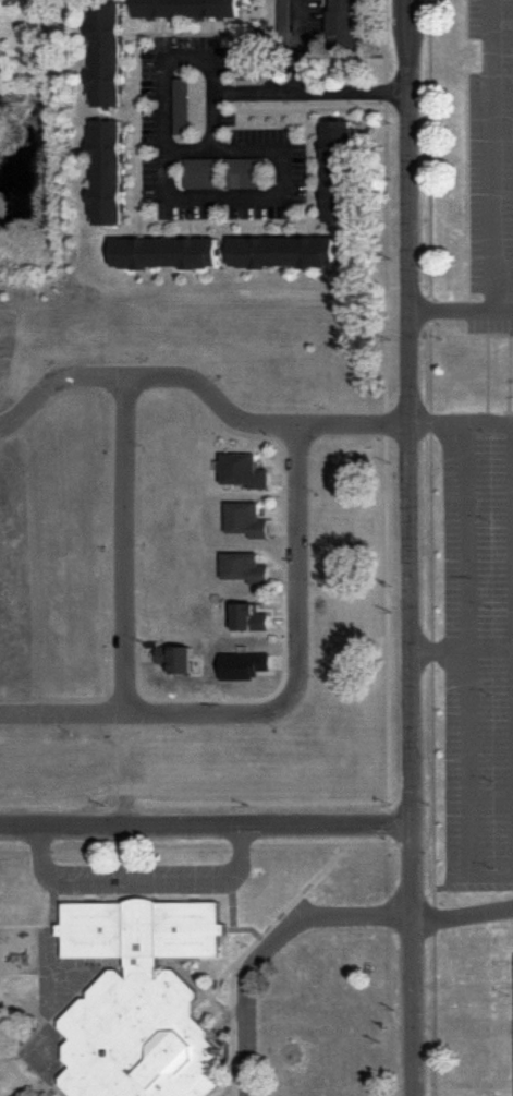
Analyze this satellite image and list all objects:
building: (186, 8)
road: (503, 8)
building: (283, 19)
building: (344, 23)
road: (301, 47)
building: (107, 53)
road: (312, 94)
building: (181, 105)
road: (187, 149)
road: (493, 154)
building: (338, 170)
building: (108, 171)
building: (222, 172)
road: (200, 195)
building: (284, 251)
building: (166, 252)
road: (462, 310)
road: (204, 389)
road: (465, 423)
building: (246, 470)
building: (248, 519)
road: (416, 547)
road: (126, 549)
building: (247, 567)
building: (253, 616)
road: (491, 646)
road: (471, 670)
road: (276, 699)
road: (207, 826)
road: (141, 882)
road: (463, 912)
road: (269, 947)
building: (141, 999)

